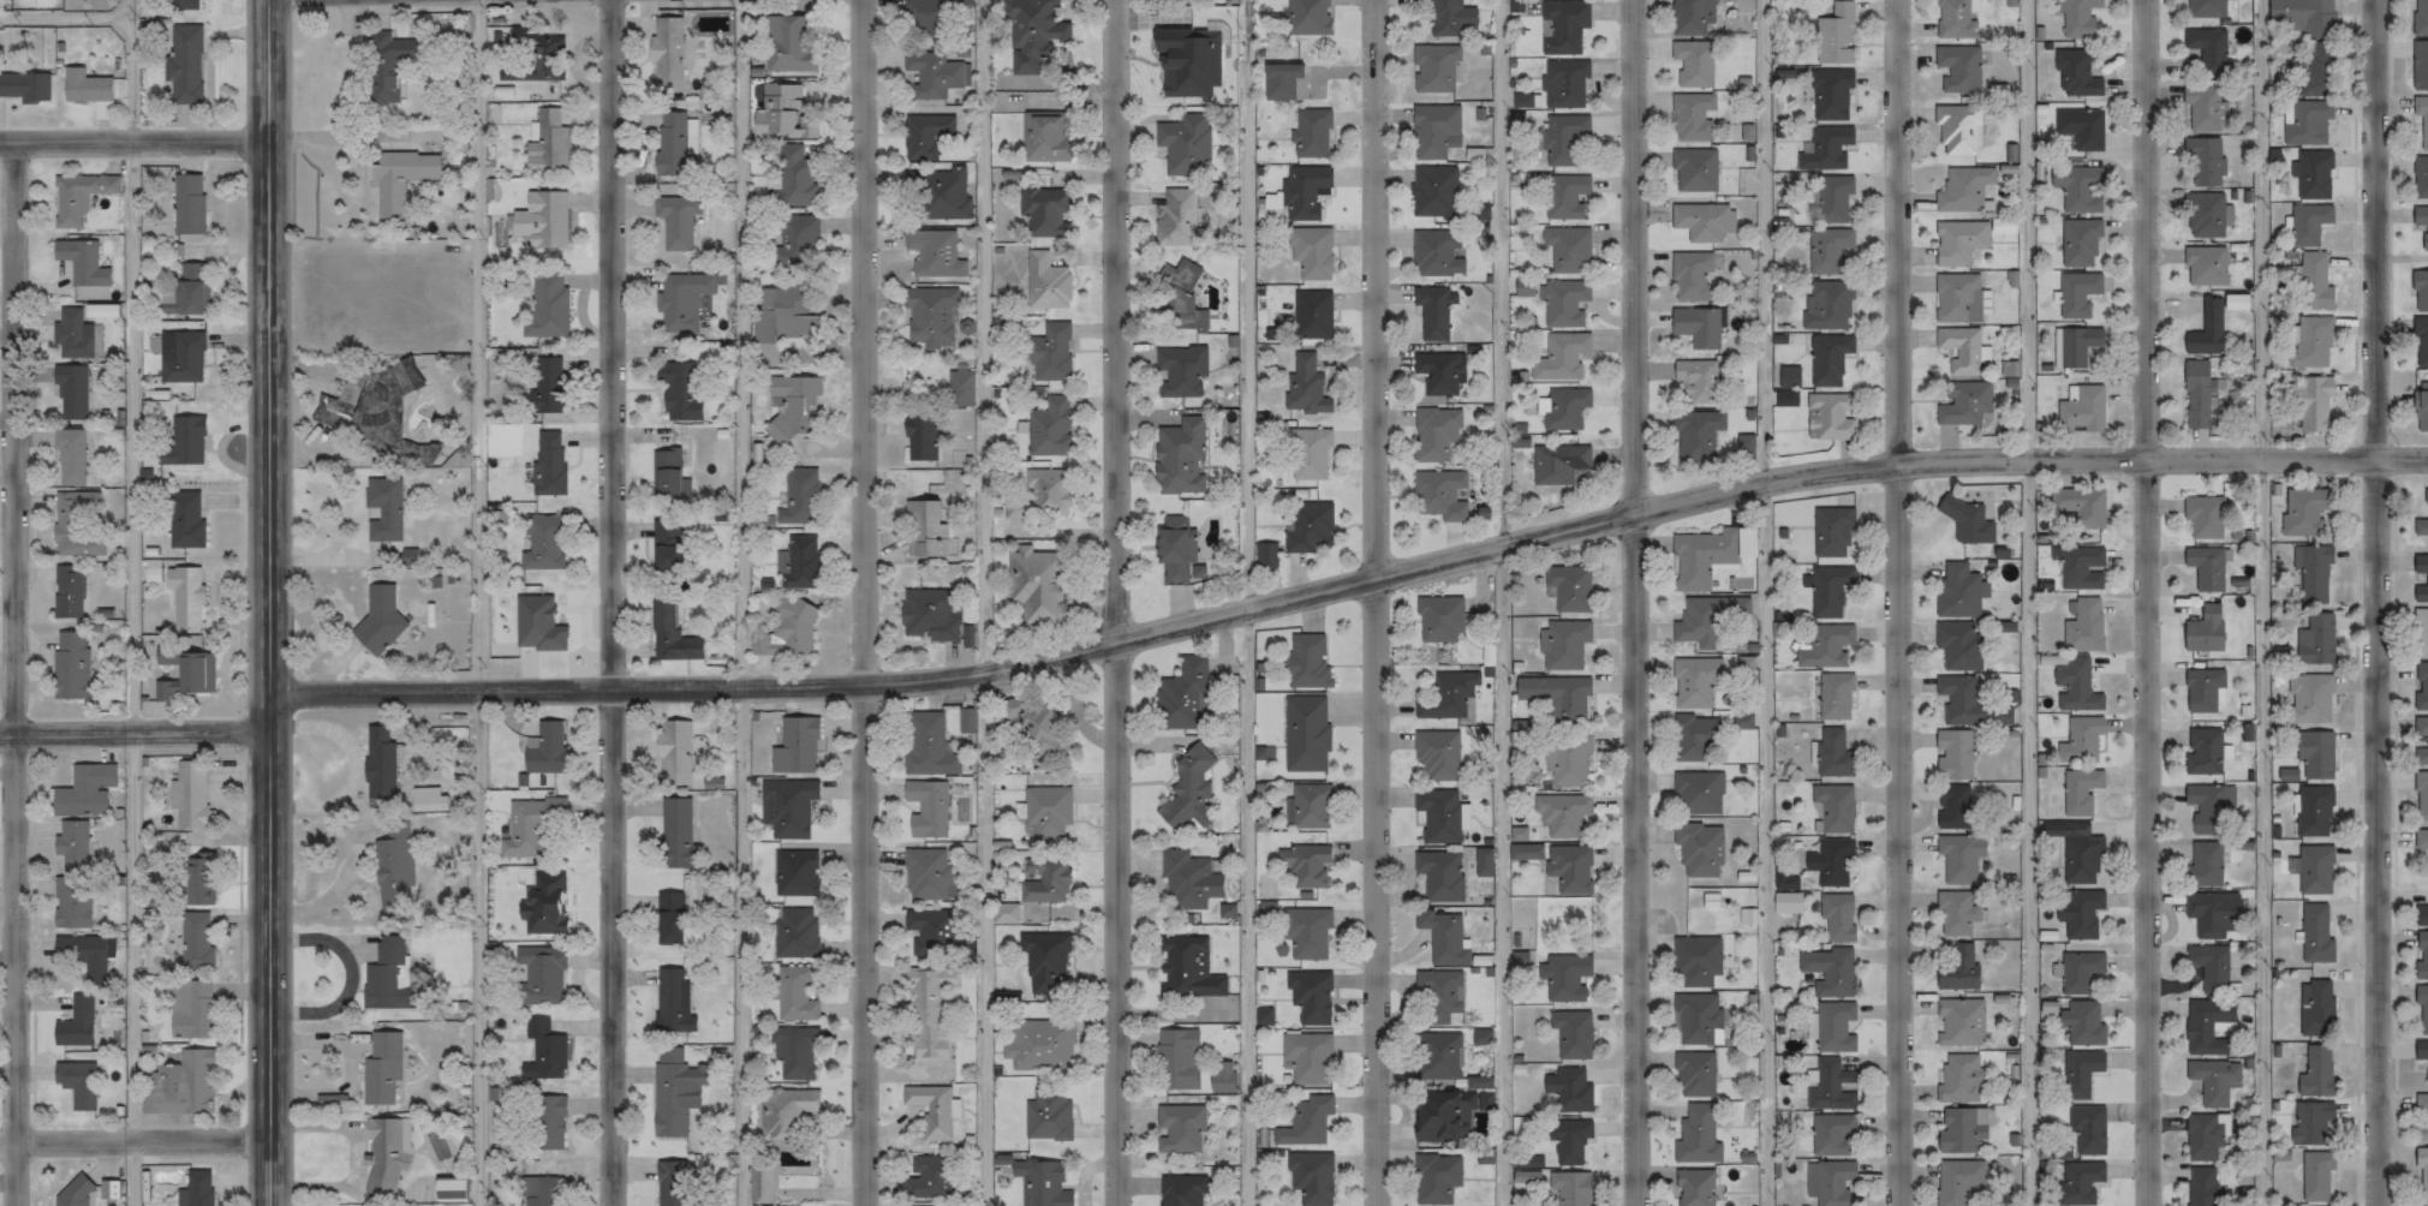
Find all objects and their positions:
building: (196, 6)
building: (2205, 8)
building: (919, 14)
building: (1306, 17)
building: (1440, 17)
building: (1690, 17)
building: (2301, 17)
building: (1952, 18)
building: (2078, 18)
building: (2420, 18)
road: (71, 20)
building: (1562, 28)
building: (1031, 34)
building: (1836, 35)
building: (785, 46)
building: (2207, 47)
building: (664, 54)
building: (547, 58)
building: (1693, 62)
building: (2420, 65)
building: (383, 66)
building: (197, 67)
building: (1433, 68)
building: (1959, 68)
building: (2315, 71)
building: (930, 73)
building: (2075, 74)
building: (1279, 82)
building: (1563, 83)
building: (31, 90)
building: (96, 91)
building: (1830, 95)
building: (2203, 107)
building: (785, 114)
building: (1693, 117)
building: (2422, 118)
building: (2305, 121)
building: (2081, 127)
building: (1432, 130)
building: (1957, 131)
building: (1310, 132)
building: (925, 137)
building: (1042, 137)
building: (1562, 137)
building: (545, 141)
road: (136, 142)
building: (1181, 144)
building: (673, 145)
building: (1825, 148)
building: (2205, 160)
building: (1693, 169)
building: (2313, 174)
building: (789, 175)
building: (2420, 177)
building: (398, 179)
building: (2076, 189)
building: (1432, 190)
building: (1963, 190)
building: (1302, 191)
building: (936, 193)
building: (1565, 196)
building: (76, 197)
building: (1831, 199)
building: (186, 204)
building: (1044, 211)
building: (2203, 215)
building: (1174, 217)
building: (541, 219)
building: (1702, 221)
building: (673, 222)
building: (2421, 222)
building: (2308, 223)
building: (792, 240)
building: (1961, 243)
building: (2080, 243)
building: (1567, 249)
building: (1827, 250)
building: (1311, 252)
building: (932, 253)
building: (1437, 253)
building: (79, 263)
building: (2205, 265)
building: (1690, 275)
building: (1044, 282)
building: (2314, 282)
building: (185, 291)
building: (2420, 291)
building: (2077, 294)
building: (1177, 297)
building: (1957, 298)
building: (679, 300)
building: (2233, 301)
building: (1563, 303)
building: (548, 304)
building: (1826, 305)
building: (1432, 311)
building: (783, 315)
building: (1311, 315)
building: (927, 316)
building: (1696, 327)
building: (2206, 329)
building: (70, 334)
building: (2311, 341)
building: (2420, 342)
building: (2076, 348)
building: (1956, 351)
building: (1049, 353)
building: (179, 357)
building: (1559, 357)
building: (1827, 359)
building: (1180, 371)
building: (1439, 372)
building: (1698, 381)
building: (544, 384)
building: (1305, 387)
building: (960, 388)
building: (68, 390)
building: (676, 390)
building: (2197, 395)
building: (1964, 404)
building: (2308, 404)
building: (791, 406)
building: (1564, 407)
building: (2081, 410)
building: (374, 411)
building: (2421, 411)
building: (1830, 417)
building: (1048, 426)
building: (1434, 432)
building: (1695, 436)
building: (921, 438)
building: (181, 442)
building: (1307, 454)
building: (67, 456)
building: (1177, 458)
building: (545, 462)
building: (1556, 464)
building: (664, 472)
building: (1044, 488)
building: (1438, 495)
building: (798, 497)
building: (2081, 506)
building: (382, 508)
building: (2304, 512)
building: (2203, 517)
building: (183, 519)
building: (1967, 521)
building: (76, 524)
building: (2421, 524)
building: (1307, 526)
building: (924, 530)
building: (1832, 532)
building: (541, 543)
building: (664, 545)
building: (1175, 549)
building: (406, 557)
building: (1700, 557)
building: (795, 563)
building: (2080, 568)
building: (2205, 568)
building: (2311, 573)
building: (2426, 580)
road: (1350, 584)
building: (1037, 585)
building: (1568, 589)
building: (1957, 590)
building: (66, 591)
building: (1829, 591)
building: (183, 596)
road: (272, 602)
road: (488, 602)
road: (609, 602)
road: (751, 602)
road: (864, 602)
road: (1116, 602)
road: (1257, 602)
road: (1373, 602)
road: (1765, 602)
road: (1898, 602)
road: (2028, 602)
road: (2144, 602)
road: (2260, 602)
road: (2376, 602)
road: (142, 603)
road: (992, 603)
road: (1507, 603)
road: (1633, 603)
building: (927, 615)
building: (377, 619)
building: (1439, 619)
building: (1696, 623)
building: (2084, 626)
building: (2203, 631)
building: (786, 632)
building: (2420, 633)
building: (672, 634)
building: (2315, 640)
building: (1563, 645)
building: (1959, 645)
building: (1825, 646)
building: (1306, 662)
building: (67, 665)
road: (17, 674)
building: (184, 674)
building: (1693, 683)
building: (2075, 687)
building: (2421, 687)
building: (2202, 691)
building: (1183, 695)
building: (1446, 695)
building: (1835, 697)
building: (1555, 698)
building: (2309, 698)
building: (1962, 700)
building: (1036, 727)
building: (1305, 734)
road: (136, 735)
building: (1694, 738)
building: (2081, 741)
building: (2427, 742)
building: (927, 745)
building: (794, 746)
building: (543, 747)
building: (2202, 751)
building: (673, 752)
building: (1832, 752)
building: (2315, 754)
building: (1437, 756)
building: (1955, 756)
building: (376, 760)
building: (1567, 762)
building: (80, 788)
building: (1186, 788)
building: (2081, 792)
building: (1698, 793)
building: (186, 794)
building: (2421, 798)
building: (1307, 805)
building: (786, 806)
building: (925, 807)
building: (1835, 807)
building: (2208, 807)
building: (1045, 811)
building: (2313, 811)
building: (1561, 814)
building: (1438, 816)
building: (1950, 819)
building: (525, 823)
building: (674, 831)
building: (70, 840)
building: (2421, 840)
building: (1699, 849)
building: (1961, 858)
building: (2083, 860)
building: (392, 861)
building: (1831, 862)
building: (1304, 864)
building: (2205, 865)
building: (1569, 868)
building: (792, 871)
building: (2314, 871)
building: (925, 872)
building: (1439, 876)
building: (1045, 878)
building: (1188, 879)
building: (196, 882)
building: (70, 900)
building: (1788, 902)
building: (1003, 912)
building: (2082, 914)
building: (2207, 915)
building: (2421, 915)
building: (1837, 917)
building: (1957, 918)
building: (670, 919)
building: (793, 931)
building: (932, 931)
building: (1306, 931)
building: (2315, 935)
building: (1443, 937)
building: (195, 939)
building: (82, 954)
building: (2421, 957)
building: (1042, 961)
building: (1695, 961)
building: (1186, 967)
building: (2209, 967)
building: (1958, 968)
building: (2080, 971)
building: (1829, 972)
building: (386, 973)
building: (537, 975)
building: (1565, 978)
building: (795, 992)
building: (1310, 995)
building: (1438, 998)
building: (672, 1001)
building: (189, 1008)
building: (927, 1009)
building: (2314, 1009)
building: (2421, 1010)
building: (1698, 1020)
building: (73, 1022)
building: (1959, 1022)
building: (2084, 1025)
building: (2206, 1026)
building: (1835, 1028)
building: (1571, 1034)
building: (1479, 1038)
building: (1038, 1044)
building: (542, 1051)
building: (792, 1051)
building: (2421, 1053)
building: (1305, 1056)
building: (1436, 1058)
building: (1173, 1059)
building: (380, 1068)
building: (2080, 1073)
building: (1693, 1074)
building: (2314, 1074)
building: (1959, 1079)
building: (1219, 1081)
building: (2214, 1081)
building: (76, 1083)
building: (1480, 1083)
building: (180, 1085)
building: (1831, 1087)
building: (1568, 1089)
building: (668, 1098)
building: (786, 1108)
building: (929, 1109)
building: (1046, 1114)
building: (1444, 1115)
building: (2421, 1118)
building: (544, 1121)
building: (1304, 1121)
building: (2310, 1124)
building: (1177, 1127)
building: (1961, 1130)
building: (2087, 1130)
building: (1832, 1135)
building: (1696, 1136)
building: (2205, 1138)
building: (1568, 1140)
road: (136, 1142)
building: (384, 1151)
building: (2421, 1174)
building: (924, 1175)
building: (1310, 1176)
building: (2314, 1177)
building: (1434, 1178)
building: (1958, 1181)
building: (1039, 1182)
building: (1829, 1182)
building: (2078, 1183)
building: (674, 1184)
building: (2201, 1187)
building: (108, 1188)
building: (197, 1188)
building: (445, 1188)
building: (1569, 1188)
building: (1694, 1188)
building: (1180, 1189)
building: (789, 1190)
building: (72, 1192)
building: (537, 1192)

